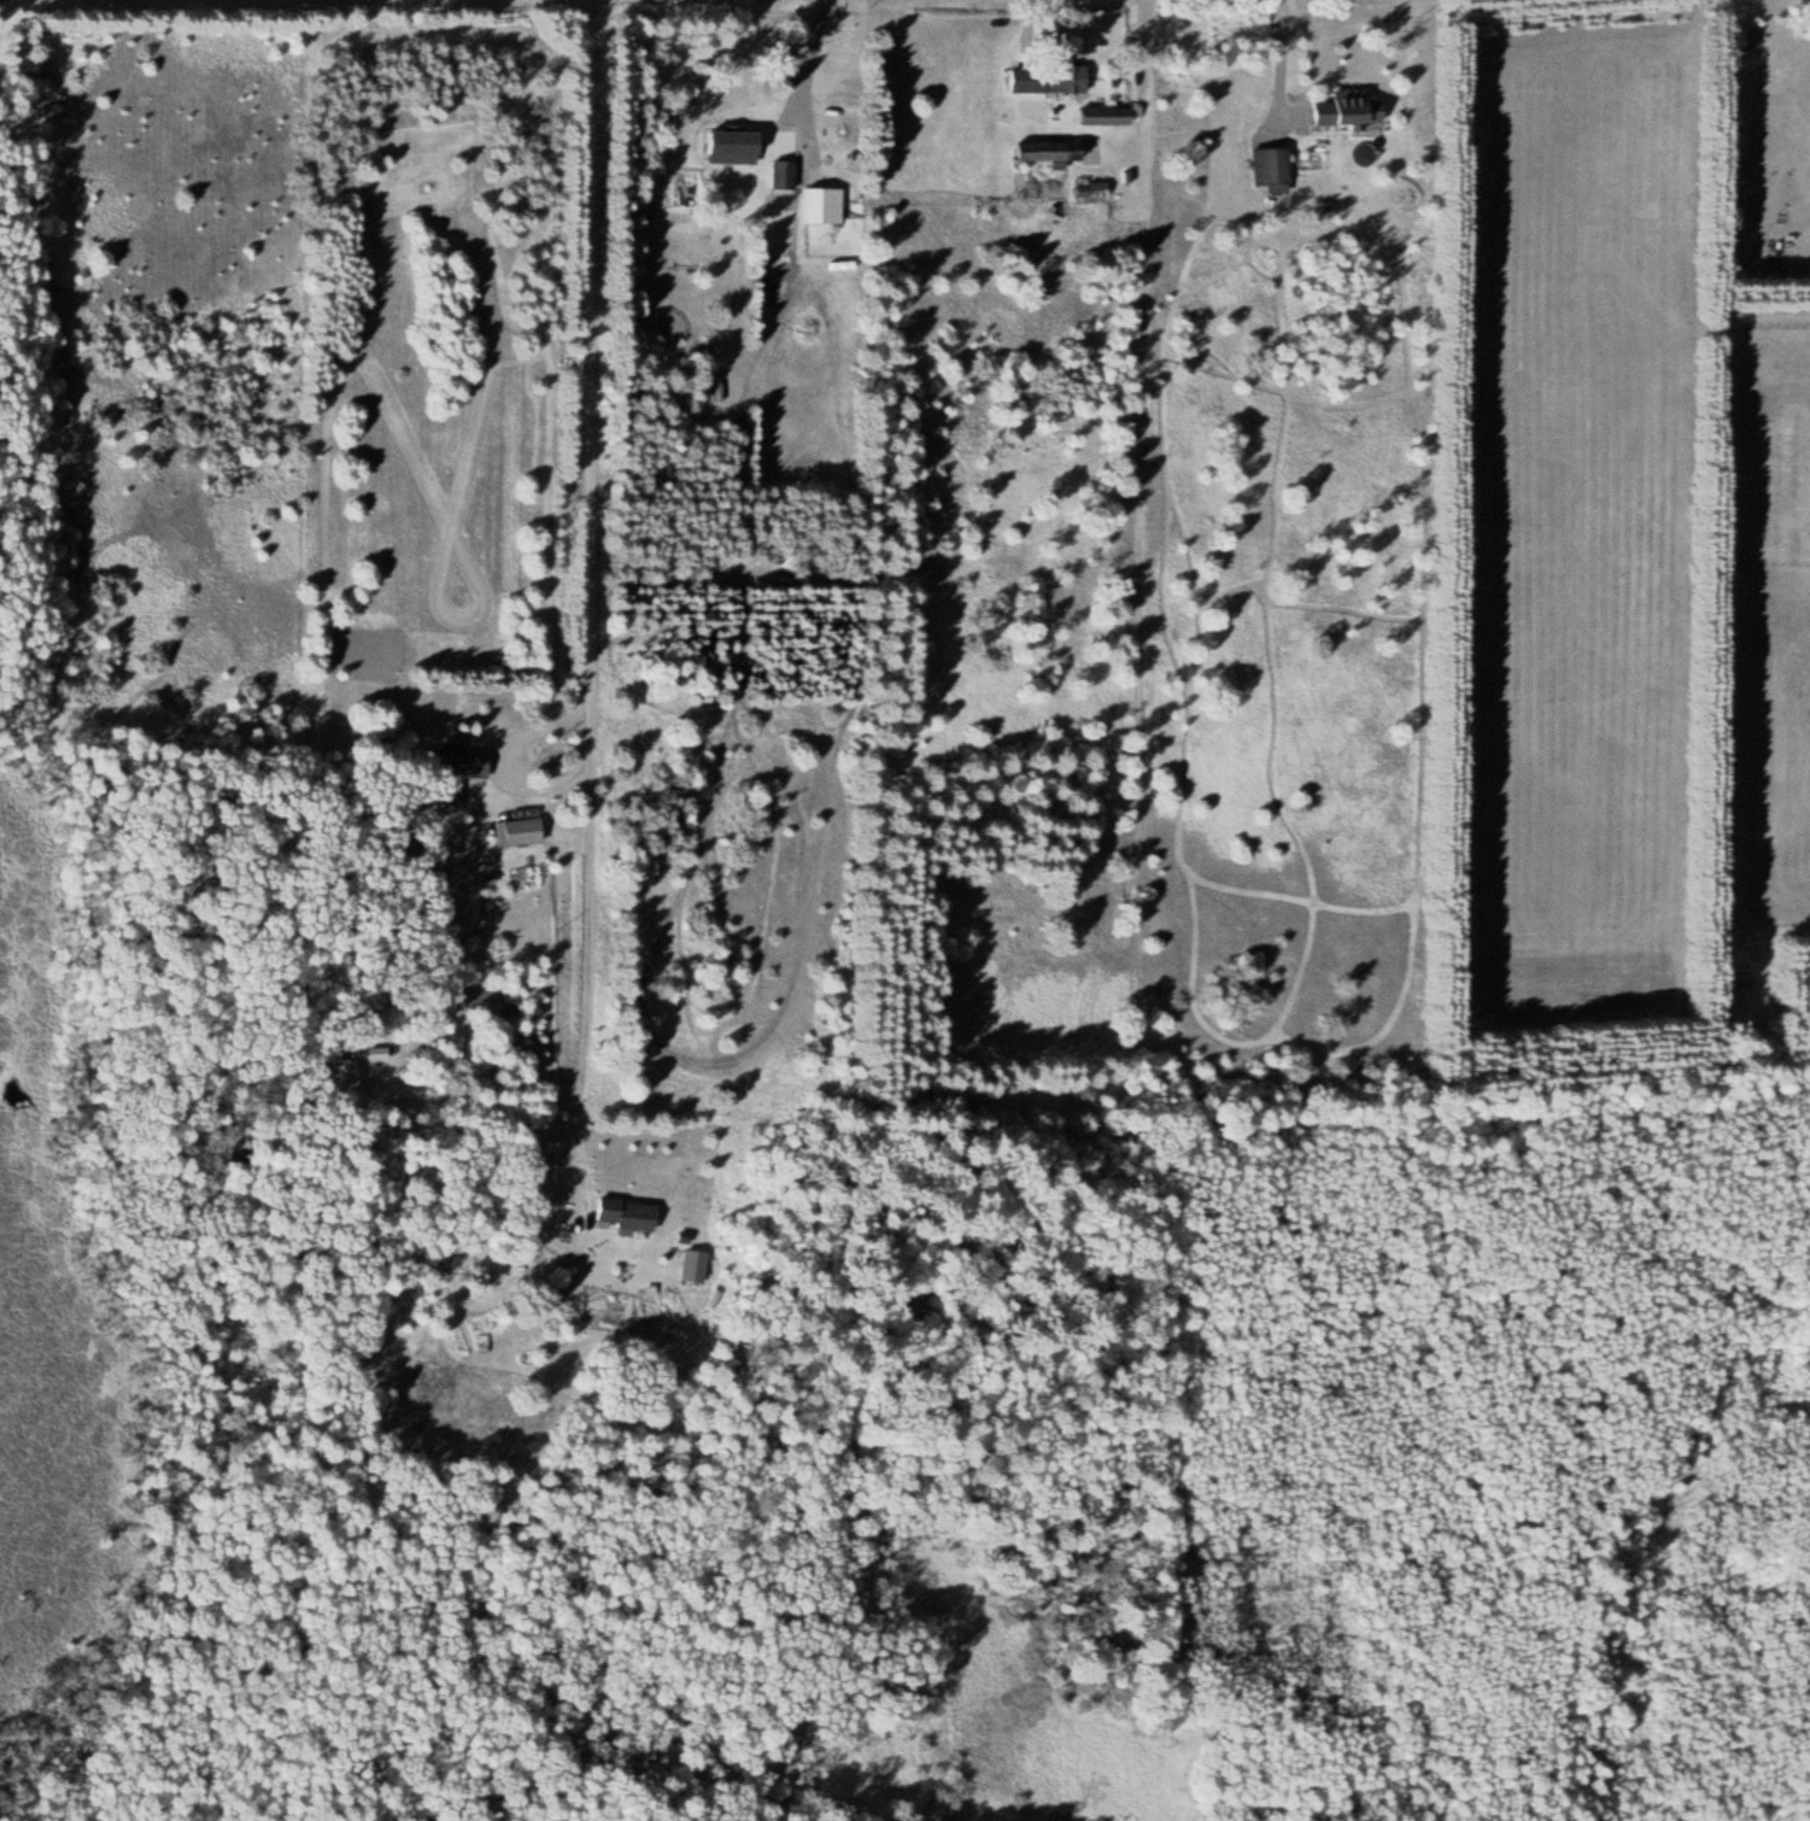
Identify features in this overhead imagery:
building: (1050, 77)
building: (1353, 109)
building: (1108, 116)
building: (744, 146)
building: (1059, 151)
building: (1275, 166)
building: (781, 174)
building: (1094, 188)
building: (827, 205)
building: (786, 474)
building: (459, 762)
building: (522, 831)
building: (381, 1053)
building: (628, 1214)
building: (696, 1265)

